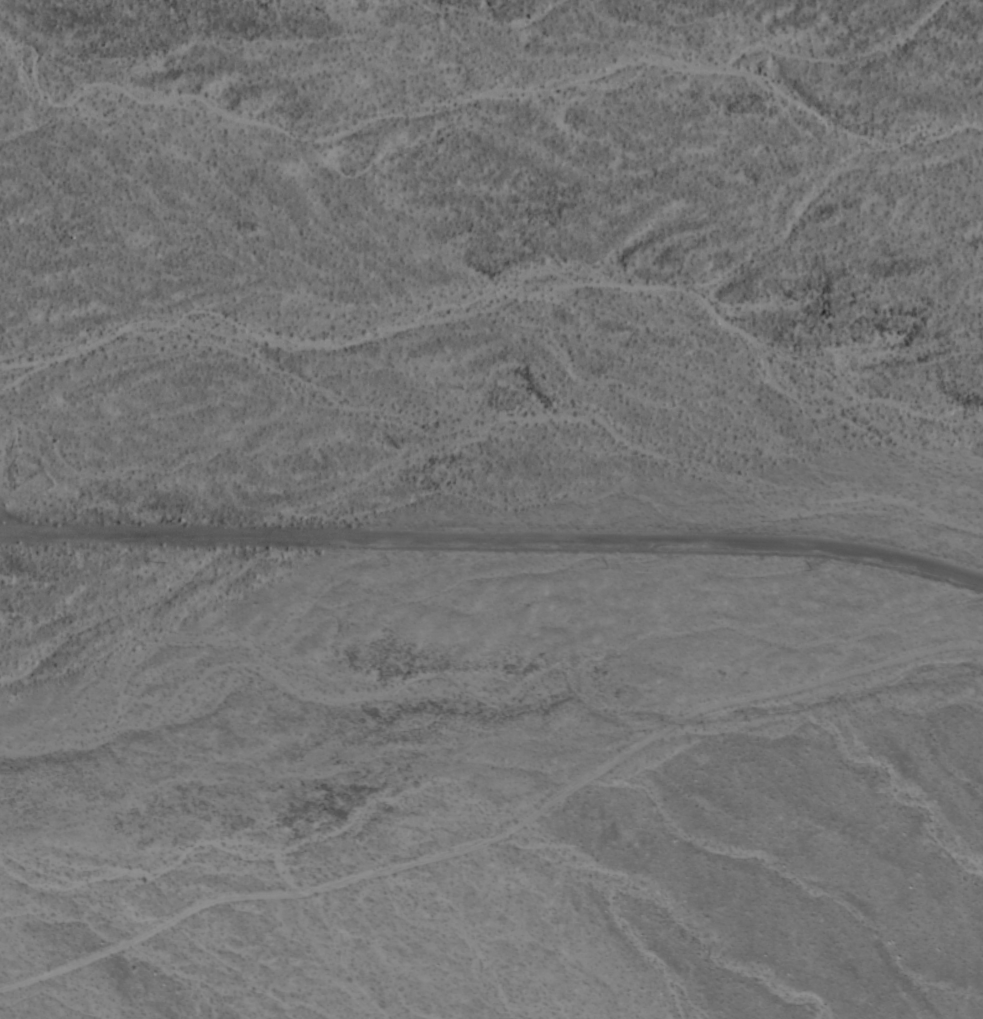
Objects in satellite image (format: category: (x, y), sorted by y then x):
road: (493, 540)
road: (500, 832)

